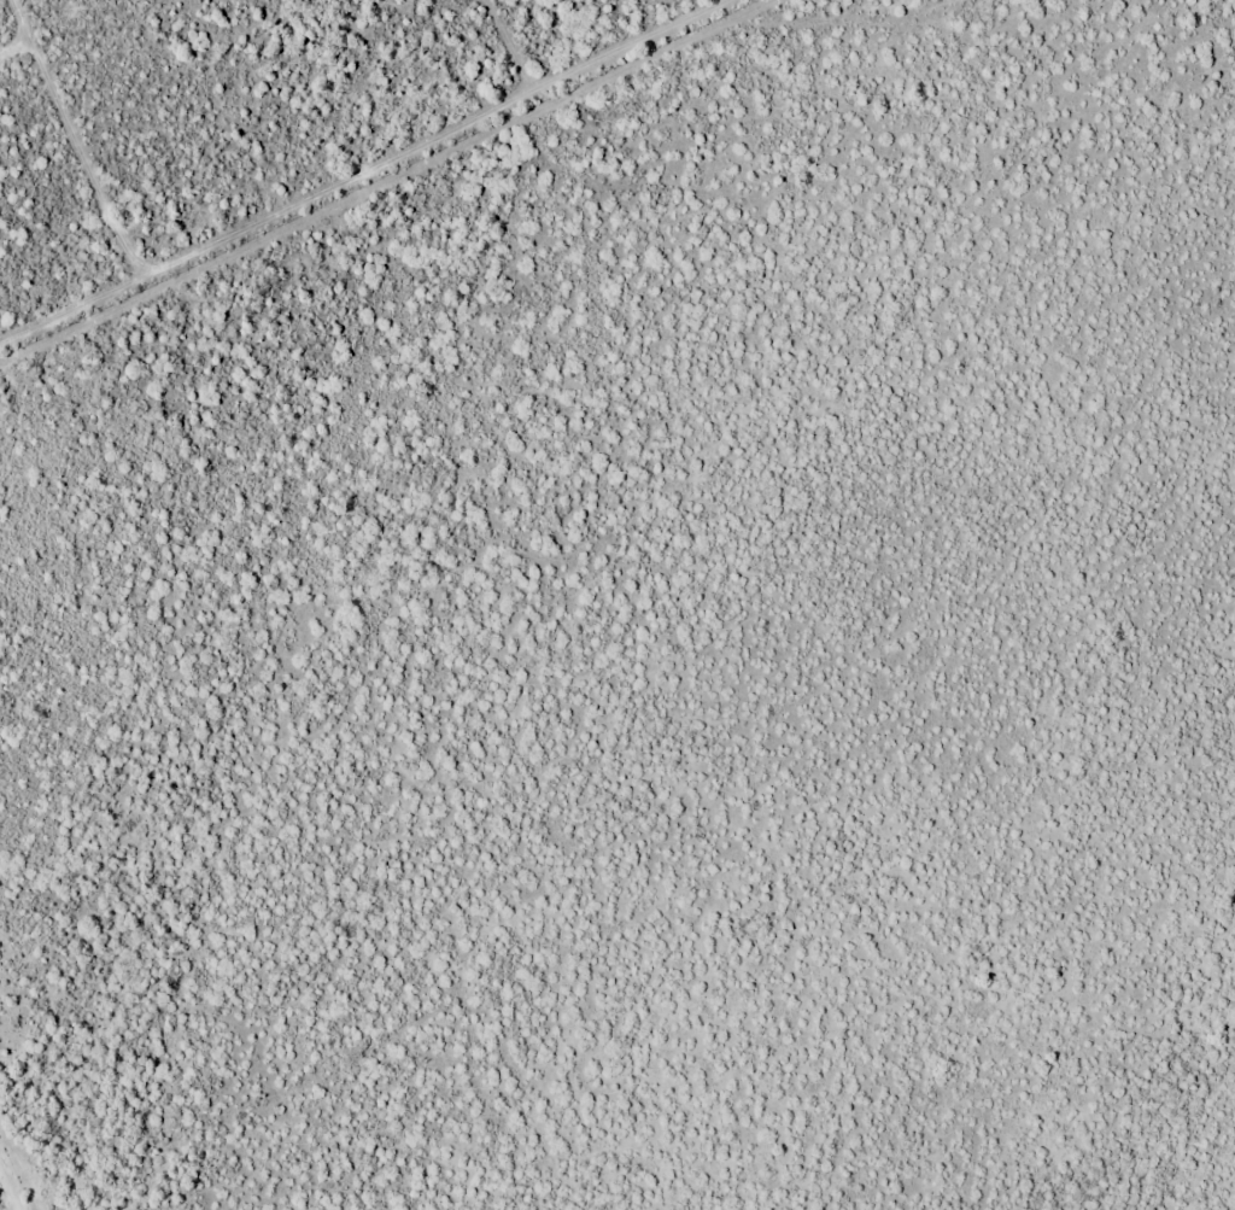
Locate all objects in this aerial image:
road: (405, 199)

